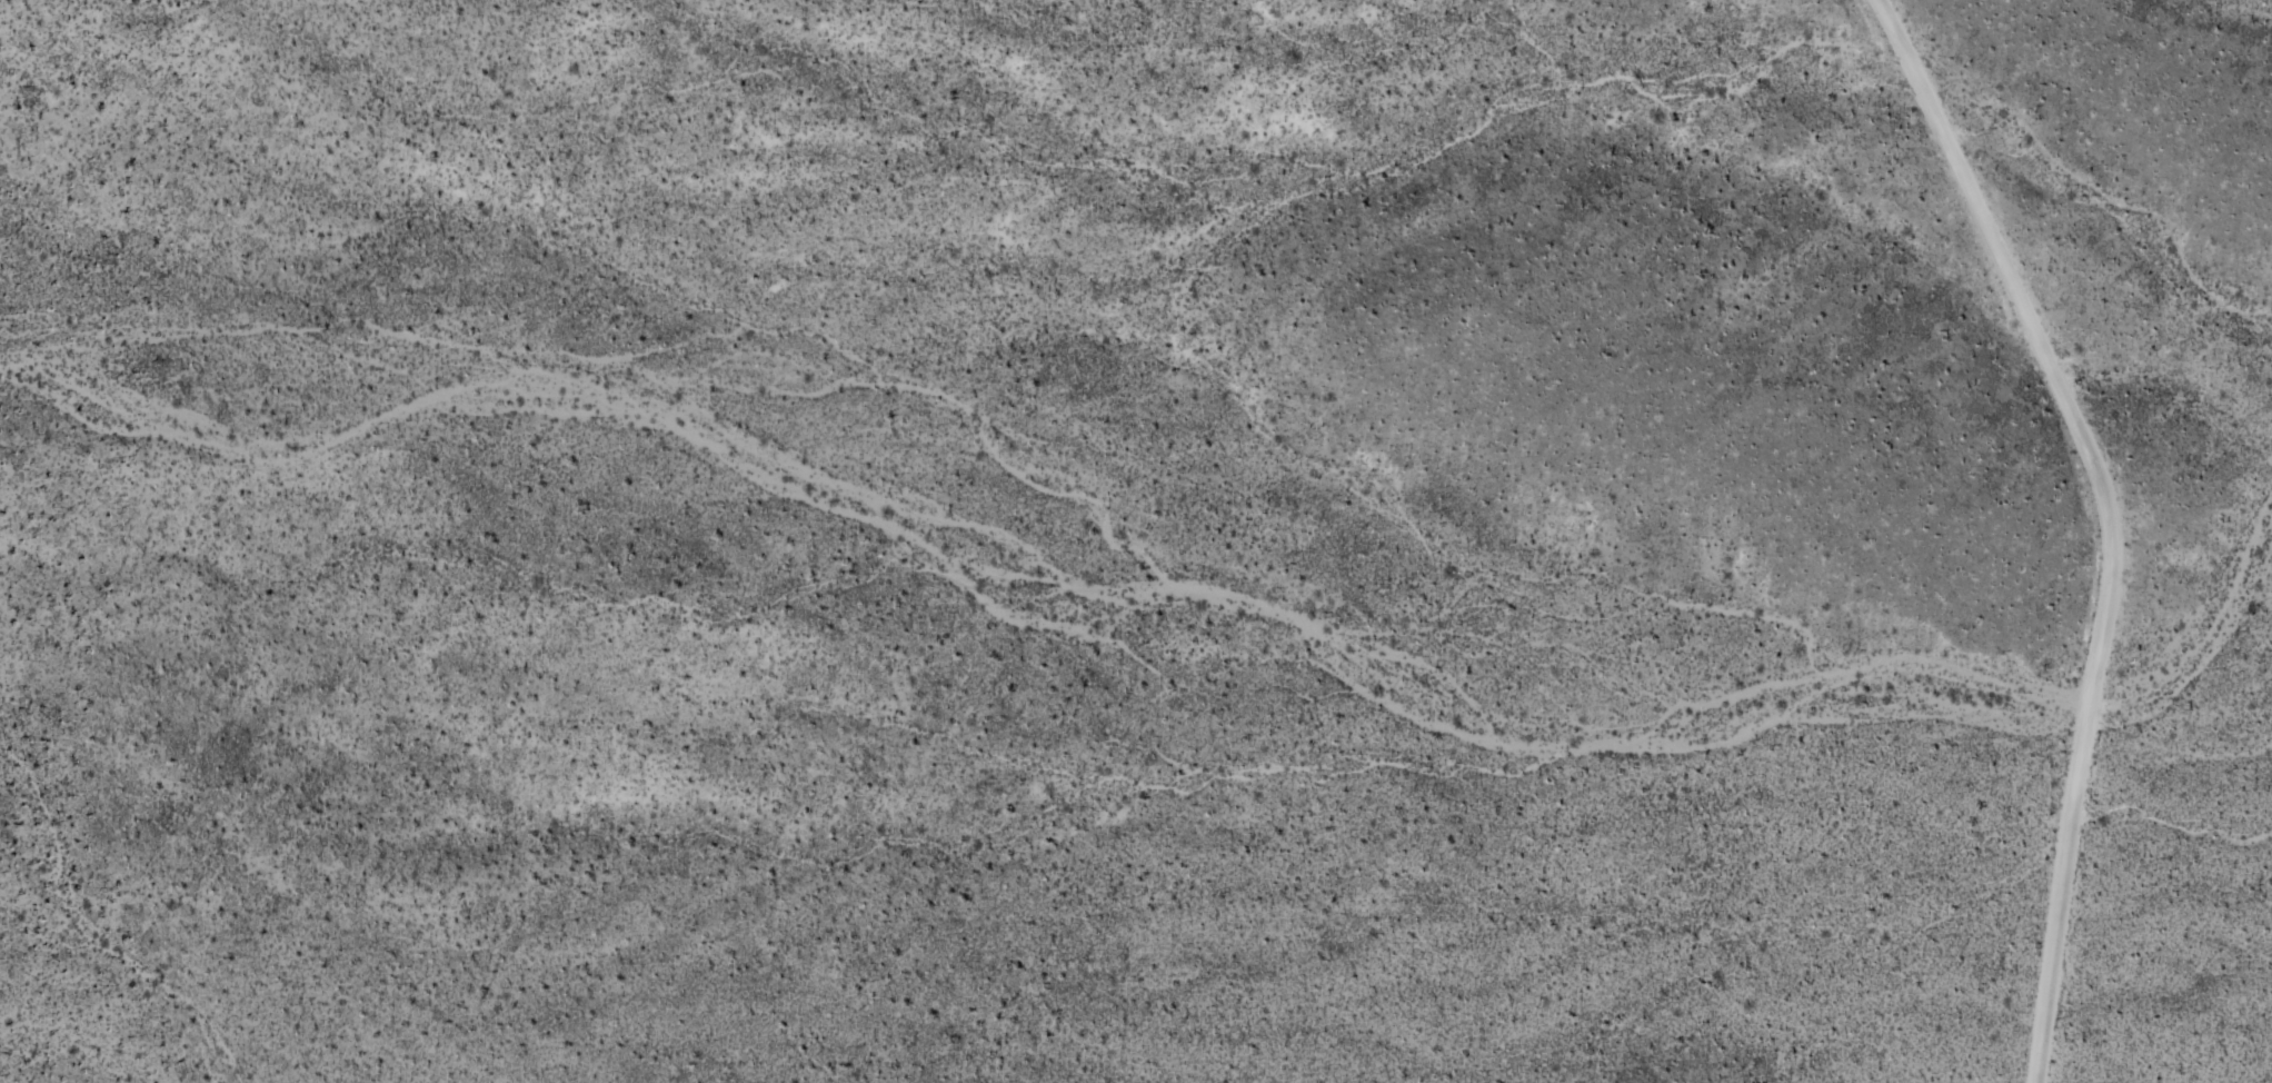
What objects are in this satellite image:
road: (2111, 517)

